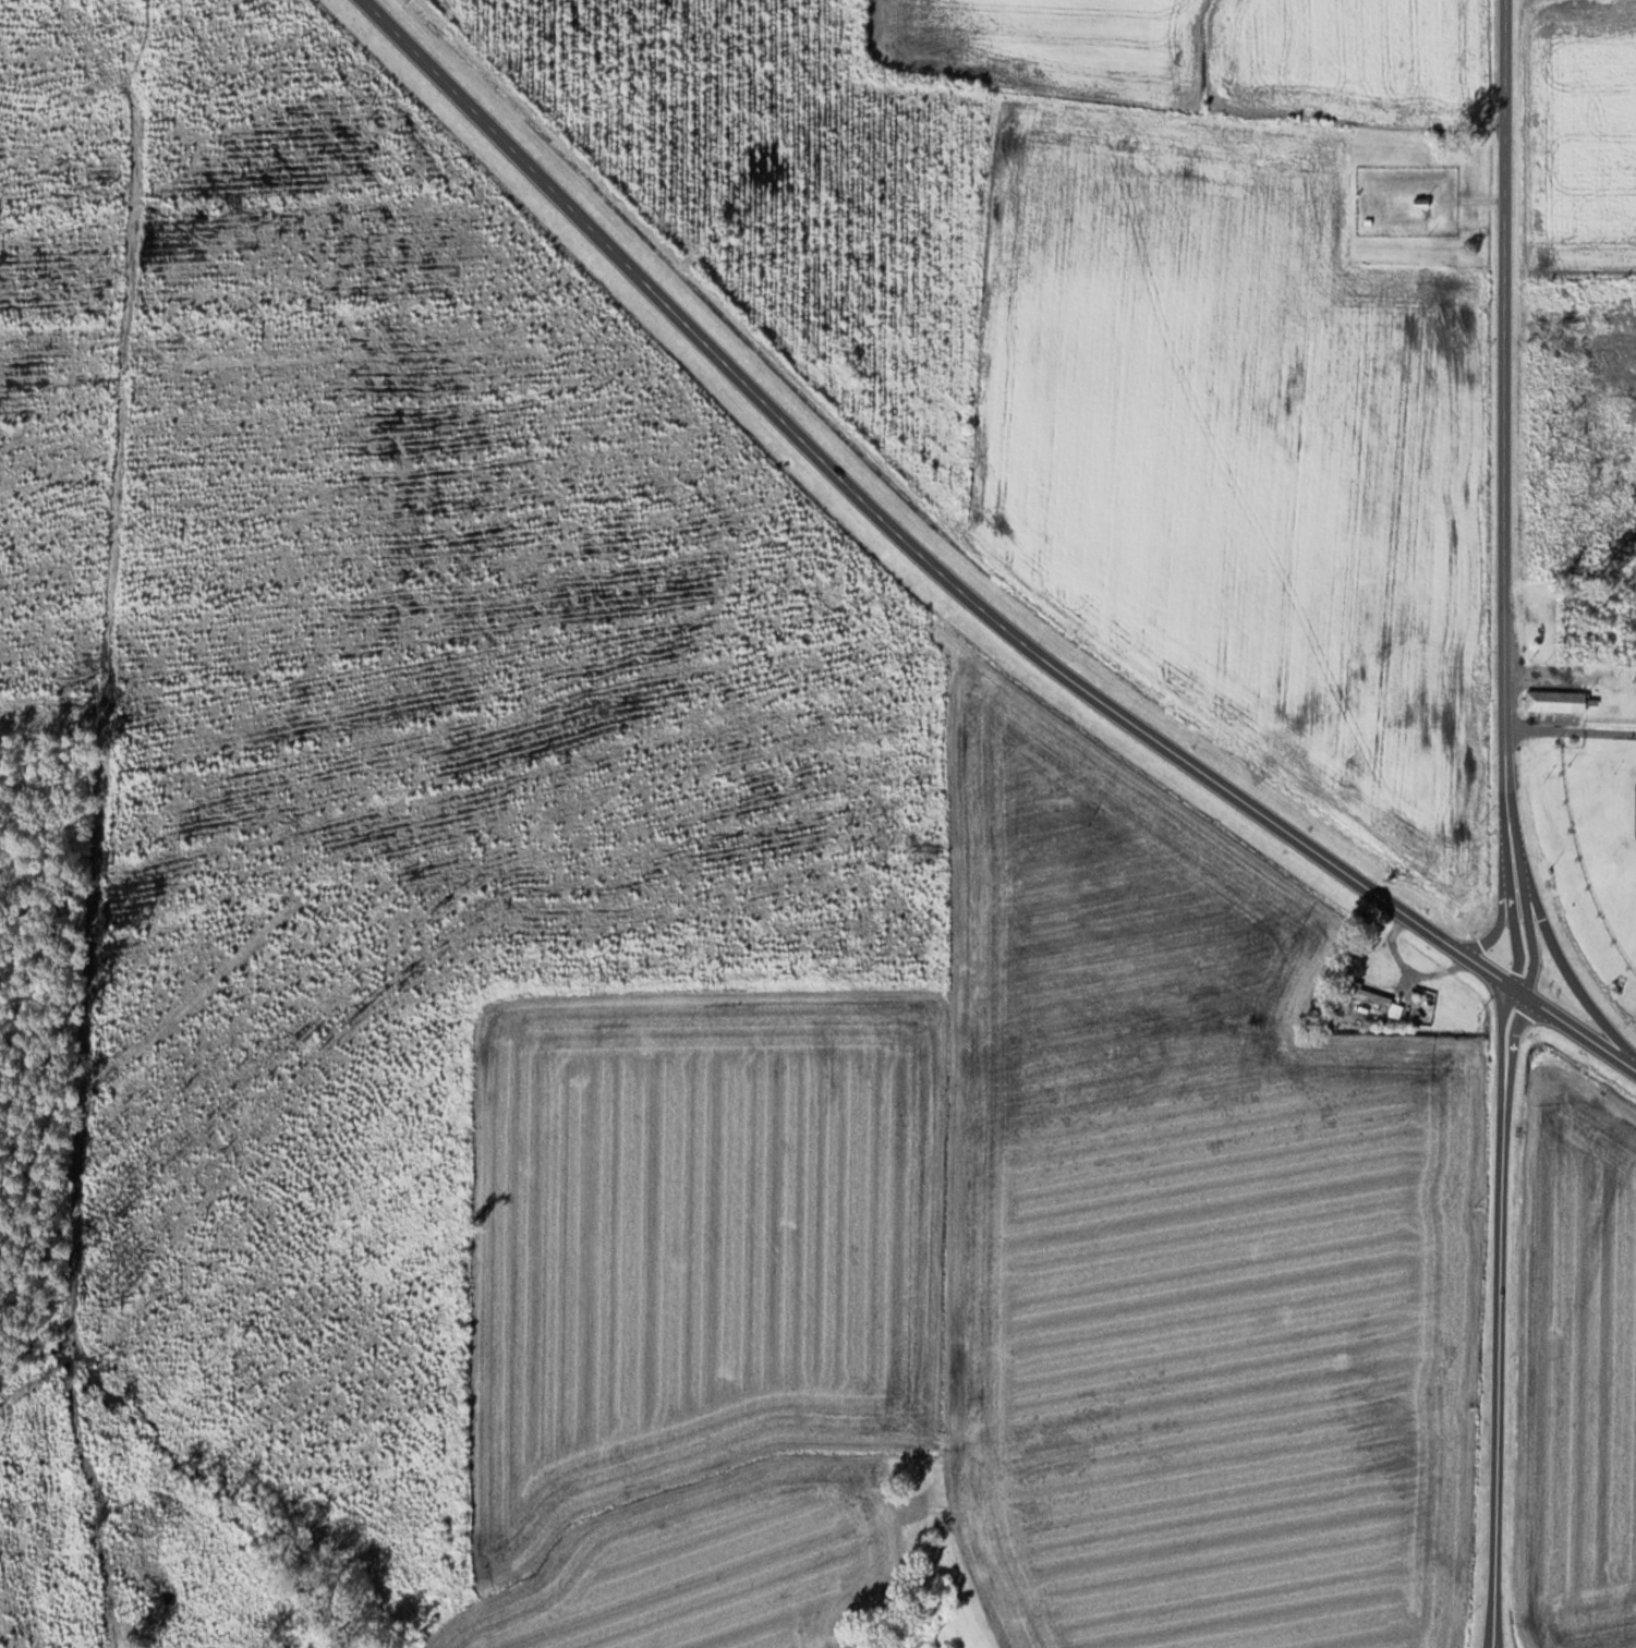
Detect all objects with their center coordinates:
road: (1504, 412)
road: (877, 512)
building: (1560, 701)
road: (1507, 847)
road: (1510, 928)
road: (1526, 932)
road: (1487, 934)
road: (1554, 953)
road: (1481, 967)
road: (1515, 989)
building: (1381, 1004)
road: (1498, 1029)
road: (1579, 1032)
road: (1510, 1034)
road: (1500, 1361)

